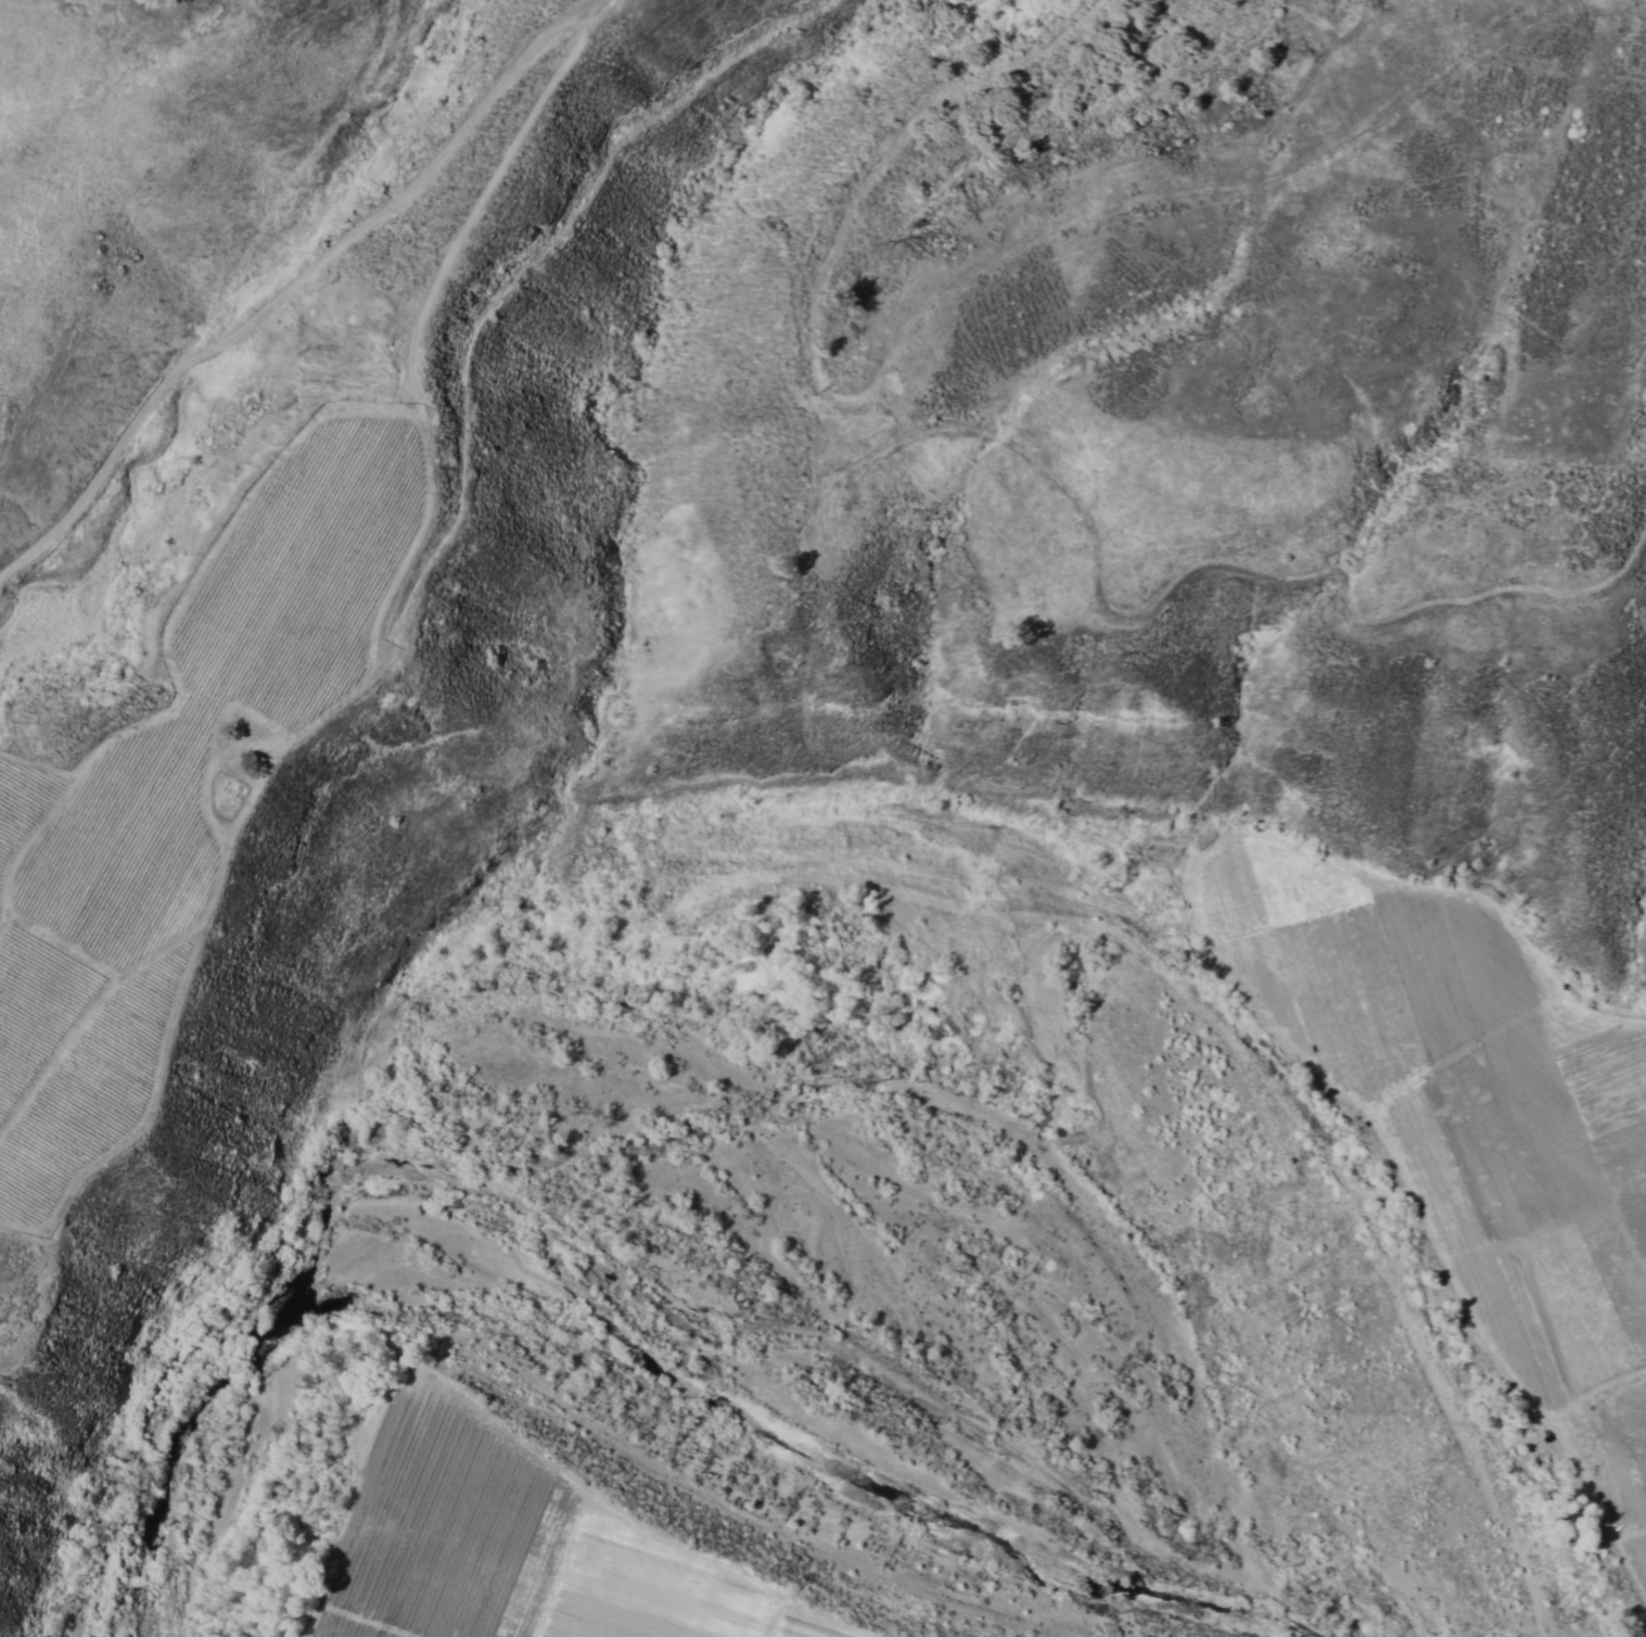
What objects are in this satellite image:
crop: (1618, 1105)
river: (762, 1135)
crop: (583, 1537)

